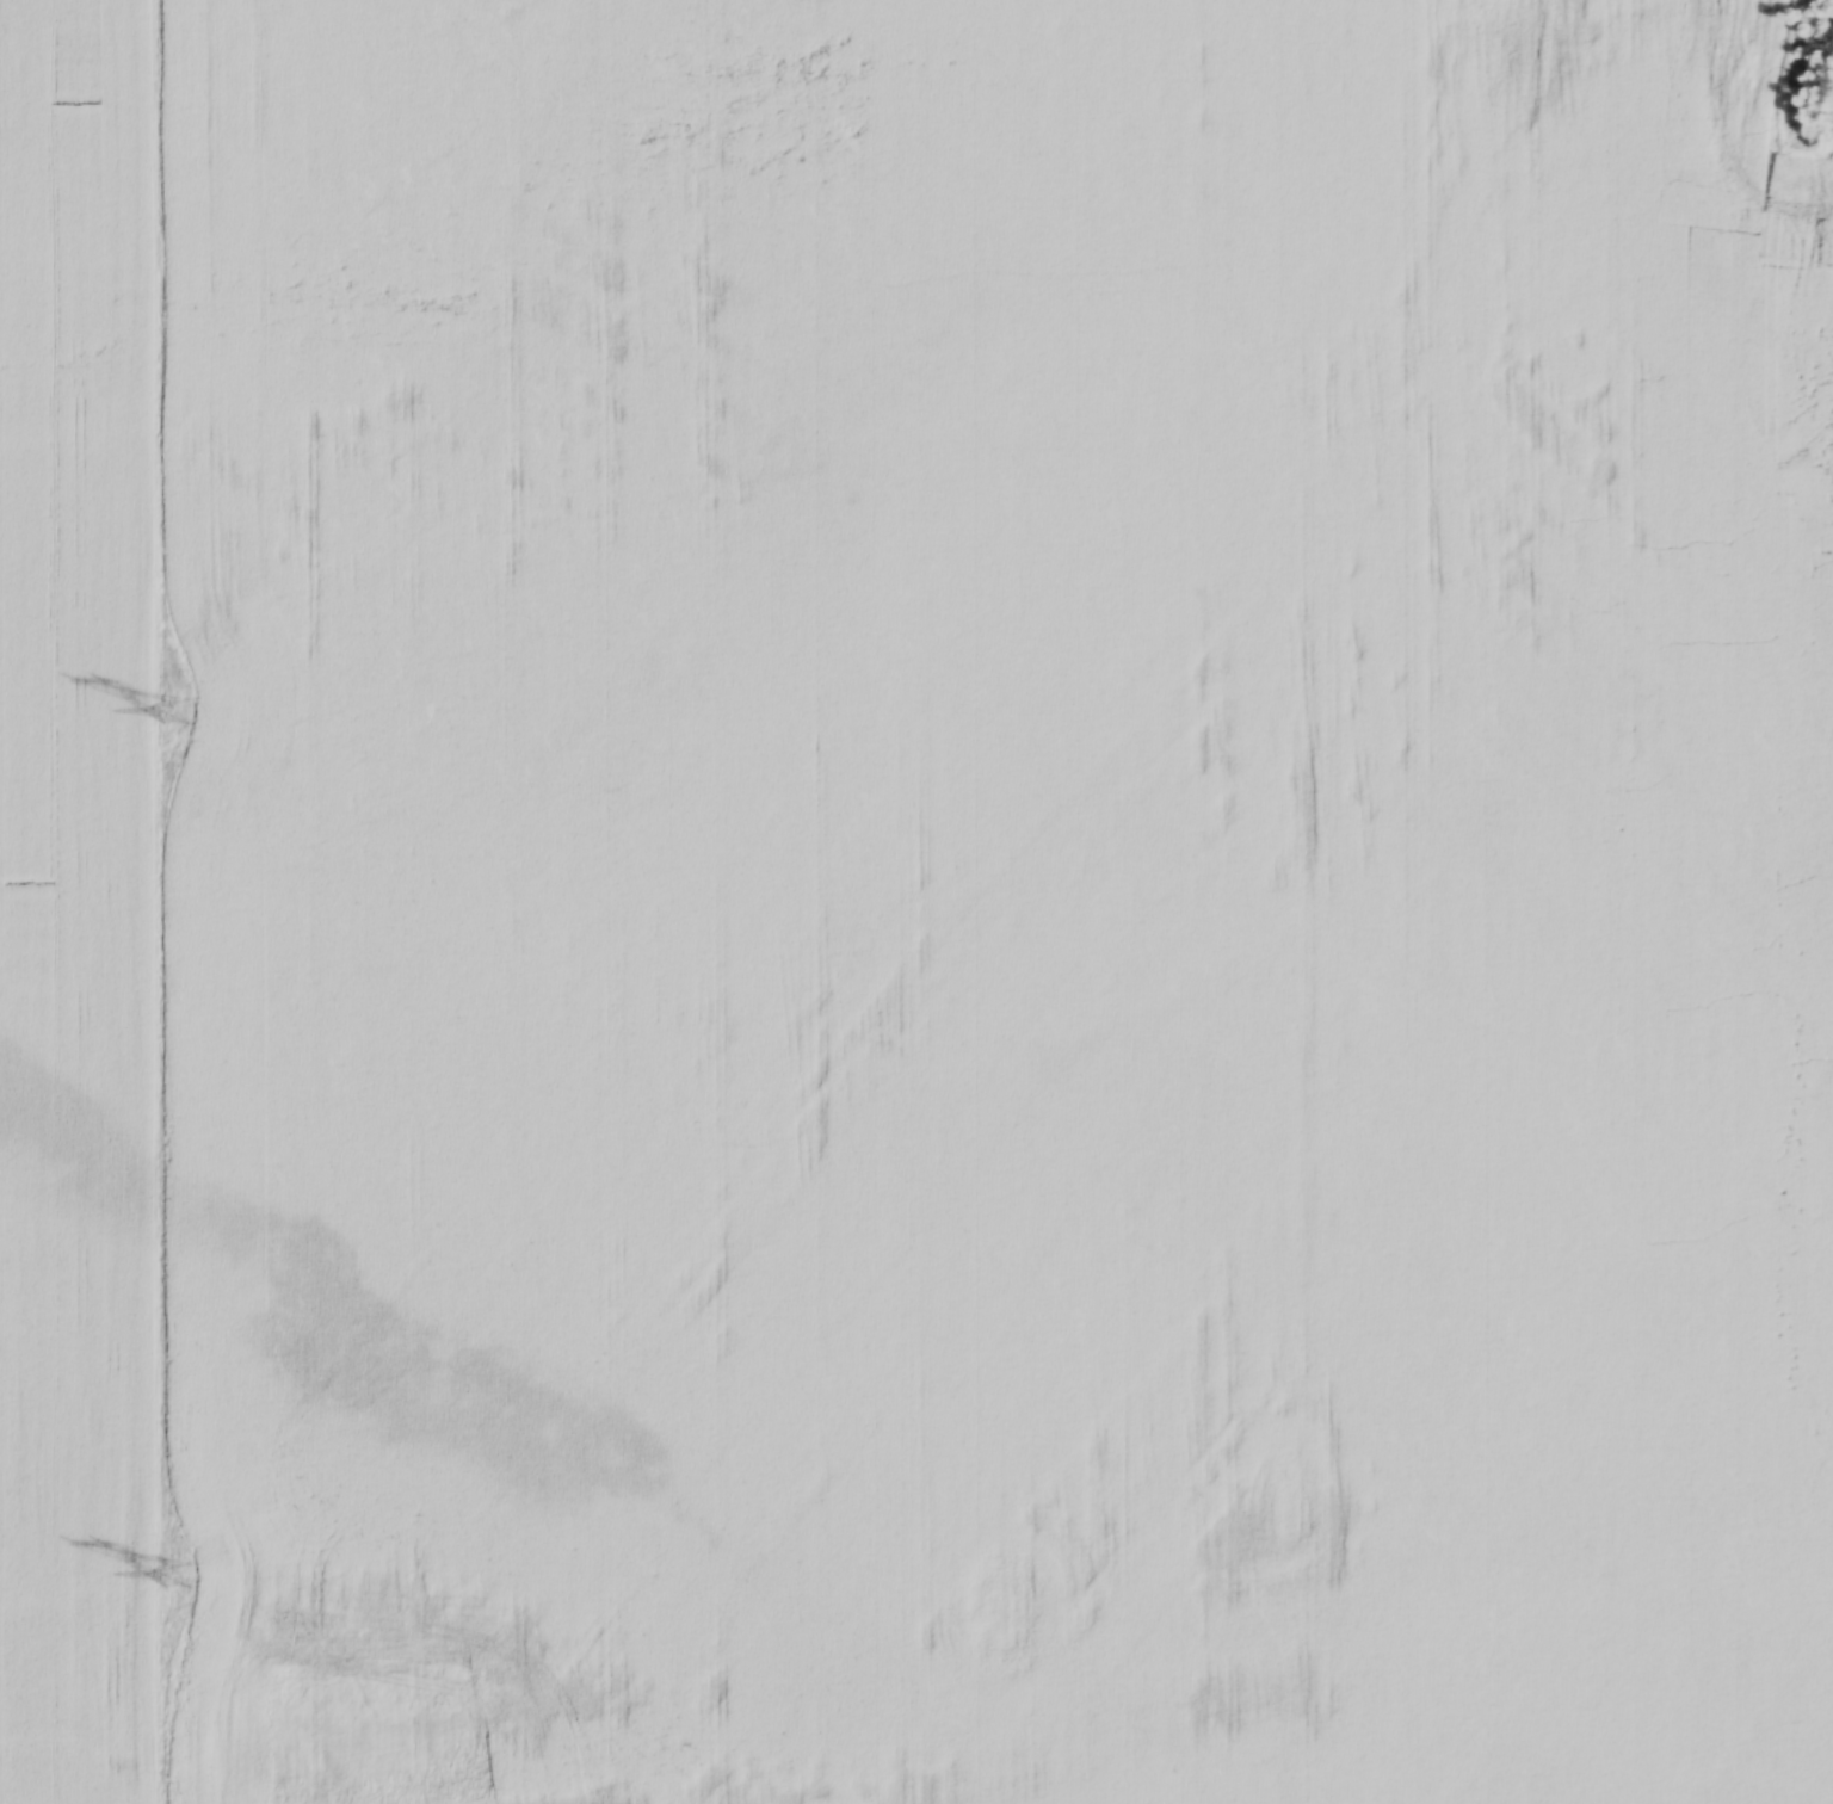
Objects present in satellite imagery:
power tower: (177, 711)
power tower: (181, 1581)

